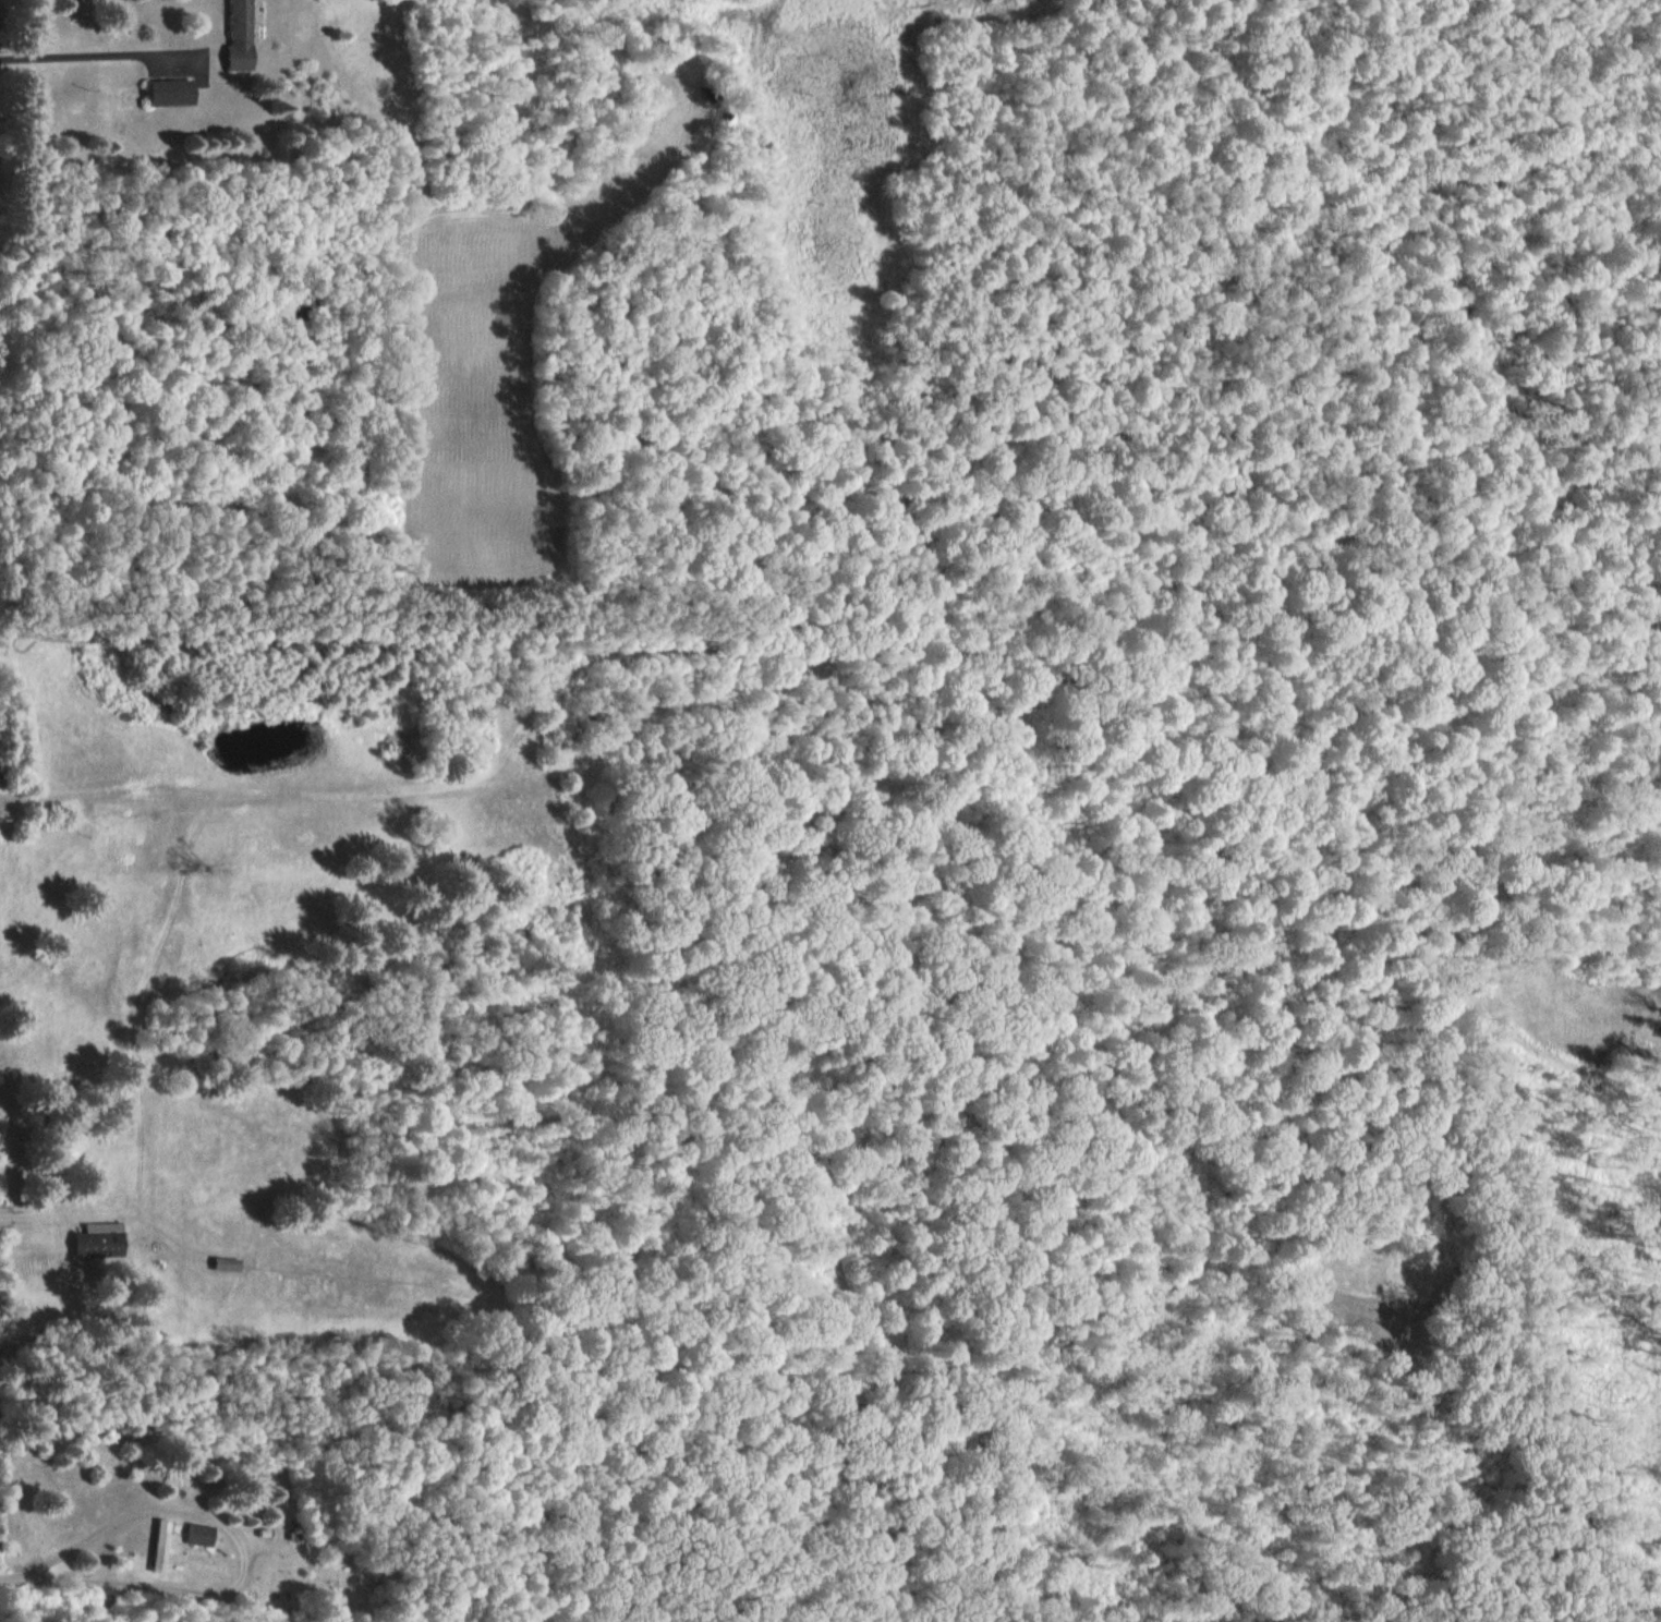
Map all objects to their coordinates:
building: (235, 35)
building: (168, 92)
road: (134, 1226)
building: (94, 1240)
building: (223, 1263)
building: (199, 1535)
building: (160, 1546)

